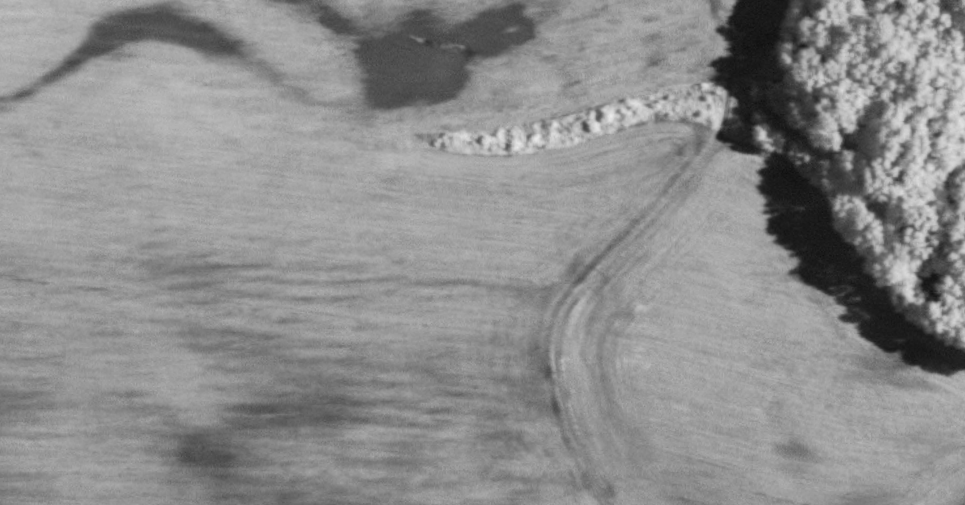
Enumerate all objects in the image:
road: (613, 249)

